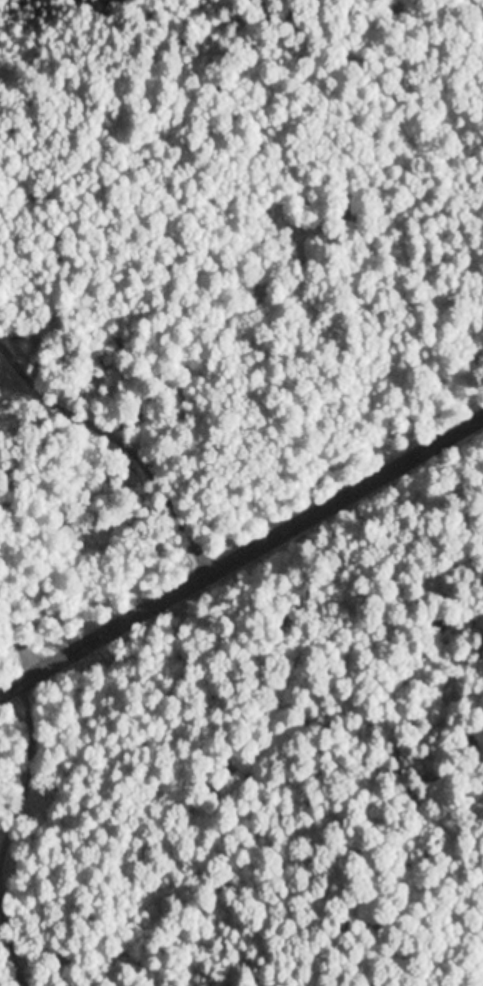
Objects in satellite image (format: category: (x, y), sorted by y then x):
road: (447, 149)
road: (73, 522)
road: (241, 554)

